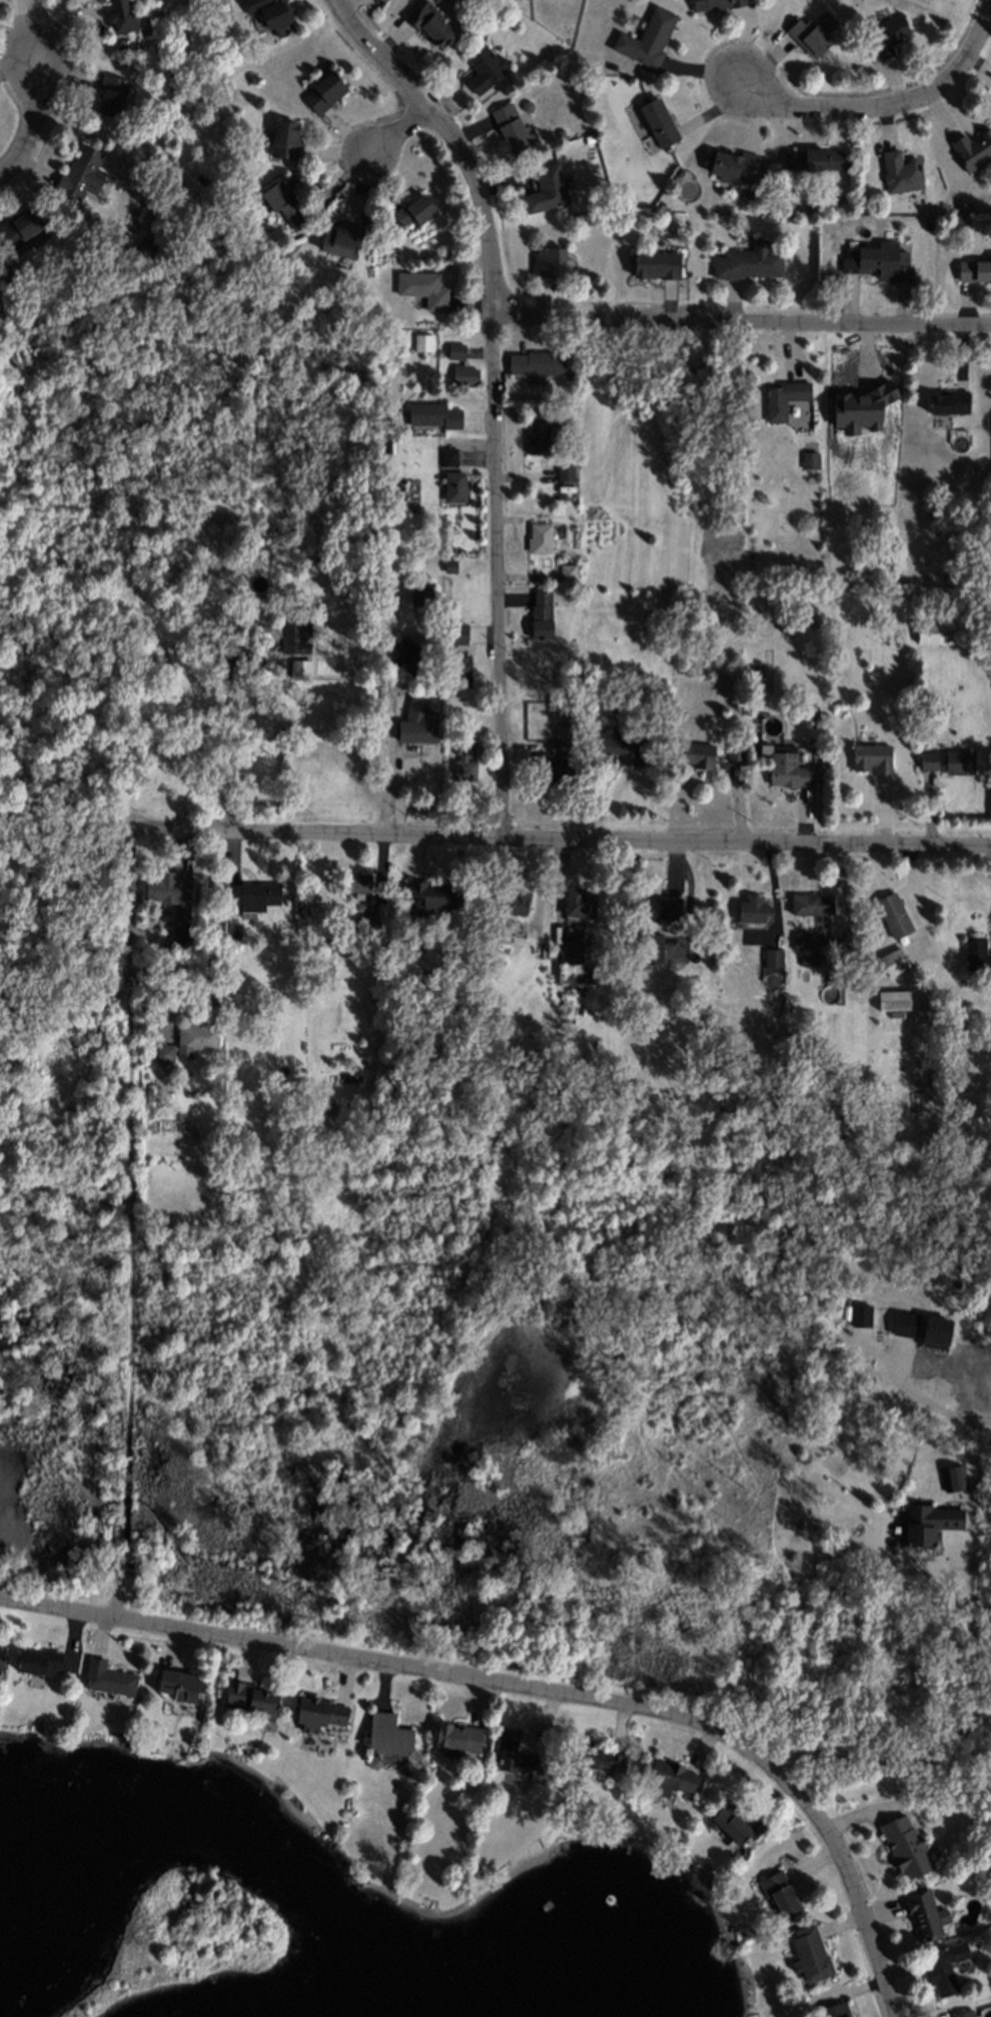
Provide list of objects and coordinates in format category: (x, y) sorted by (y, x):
building: (509, 0)
building: (712, 3)
building: (117, 13)
building: (269, 14)
building: (426, 22)
building: (883, 34)
building: (805, 35)
building: (644, 37)
building: (133, 46)
building: (480, 68)
building: (168, 75)
building: (250, 77)
building: (320, 90)
building: (109, 93)
building: (524, 104)
road: (888, 108)
road: (29, 119)
building: (656, 121)
building: (507, 126)
road: (399, 130)
building: (559, 133)
road: (452, 137)
building: (281, 138)
building: (972, 148)
building: (811, 159)
building: (730, 163)
building: (75, 171)
building: (898, 171)
building: (198, 177)
building: (544, 187)
building: (744, 195)
building: (280, 203)
building: (962, 207)
building: (410, 209)
building: (17, 226)
building: (926, 226)
building: (339, 238)
building: (377, 239)
building: (143, 249)
building: (269, 258)
building: (546, 260)
building: (875, 261)
building: (653, 263)
building: (744, 263)
building: (973, 268)
building: (7, 269)
building: (333, 287)
building: (419, 288)
road: (742, 316)
building: (419, 338)
building: (450, 346)
building: (455, 351)
building: (435, 352)
building: (537, 363)
building: (459, 372)
building: (777, 397)
building: (951, 400)
building: (533, 411)
building: (434, 416)
building: (534, 437)
building: (809, 444)
building: (444, 454)
building: (810, 461)
building: (561, 472)
building: (451, 485)
building: (536, 535)
building: (563, 570)
road: (497, 574)
building: (422, 594)
building: (288, 596)
building: (542, 615)
building: (780, 622)
building: (932, 629)
building: (291, 634)
building: (454, 636)
building: (140, 647)
building: (406, 654)
building: (297, 667)
building: (454, 668)
building: (394, 701)
road: (388, 715)
building: (926, 719)
building: (413, 723)
building: (558, 728)
road: (227, 740)
building: (556, 743)
building: (626, 745)
building: (731, 748)
building: (696, 753)
building: (868, 753)
building: (945, 756)
building: (460, 759)
building: (558, 768)
building: (785, 772)
road: (557, 837)
building: (355, 878)
building: (163, 882)
building: (250, 891)
building: (434, 896)
building: (510, 897)
building: (573, 898)
building: (806, 900)
building: (656, 904)
building: (749, 906)
building: (890, 916)
building: (365, 923)
building: (499, 923)
building: (232, 932)
building: (798, 935)
building: (181, 936)
building: (647, 944)
building: (976, 954)
building: (771, 956)
building: (802, 956)
building: (571, 957)
building: (832, 959)
building: (893, 960)
building: (891, 998)
building: (482, 1016)
building: (198, 1032)
building: (162, 1049)
building: (928, 1072)
building: (817, 1084)
building: (296, 1093)
building: (173, 1138)
building: (174, 1153)
building: (860, 1315)
building: (884, 1321)
building: (905, 1324)
building: (932, 1325)
road: (928, 1403)
road: (990, 1422)
building: (952, 1476)
building: (924, 1521)
building: (119, 1566)
building: (2, 1657)
building: (39, 1660)
building: (105, 1675)
building: (178, 1683)
road: (532, 1690)
building: (248, 1696)
building: (317, 1711)
building: (386, 1732)
building: (453, 1733)
road: (955, 1737)
building: (511, 1752)
building: (594, 1754)
building: (372, 1759)
building: (671, 1770)
building: (735, 1821)
building: (904, 1845)
building: (777, 1889)
building: (921, 1909)
park: (190, 1938)
building: (810, 1953)
building: (938, 1968)
building: (834, 2009)
building: (961, 2013)

